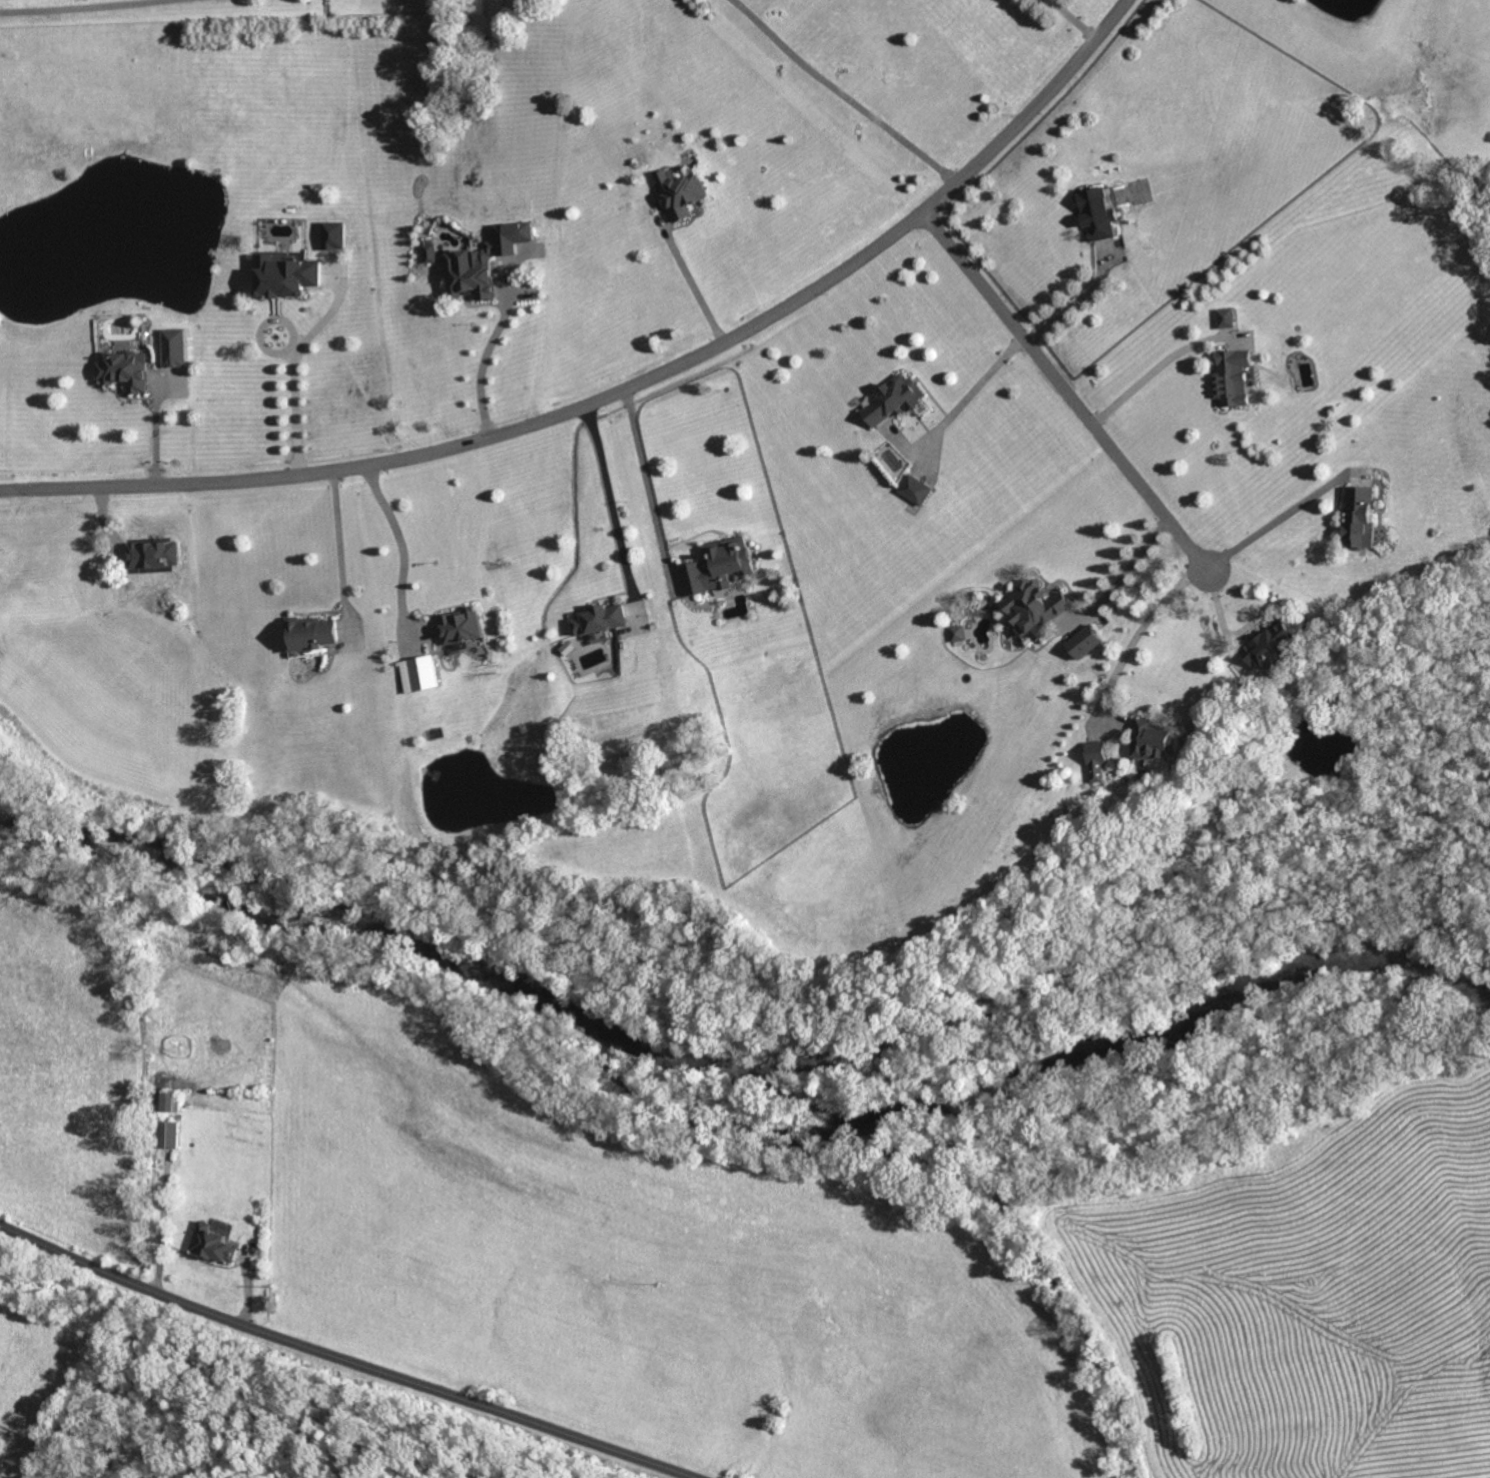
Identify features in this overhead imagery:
road: (74, 7)
road: (1073, 19)
road: (841, 92)
building: (684, 195)
building: (1098, 215)
building: (331, 235)
building: (512, 237)
building: (427, 254)
building: (286, 276)
building: (469, 276)
road: (694, 282)
road: (1074, 302)
building: (1224, 319)
building: (172, 348)
road: (478, 350)
building: (125, 371)
road: (1140, 371)
road: (623, 378)
building: (1233, 378)
road: (1059, 383)
road: (975, 385)
road: (294, 394)
building: (893, 401)
road: (646, 478)
building: (916, 491)
road: (604, 492)
building: (1361, 518)
road: (1264, 519)
road: (331, 531)
road: (394, 539)
building: (153, 555)
building: (719, 567)
road: (1118, 568)
building: (1035, 609)
road: (1214, 610)
road: (1138, 619)
building: (600, 620)
building: (462, 627)
building: (310, 634)
building: (955, 634)
building: (1271, 649)
building: (421, 675)
building: (1156, 742)
building: (1098, 754)
building: (170, 1103)
river: (727, 1121)
building: (168, 1136)
road: (161, 1223)
building: (212, 1245)
road: (342, 1360)

